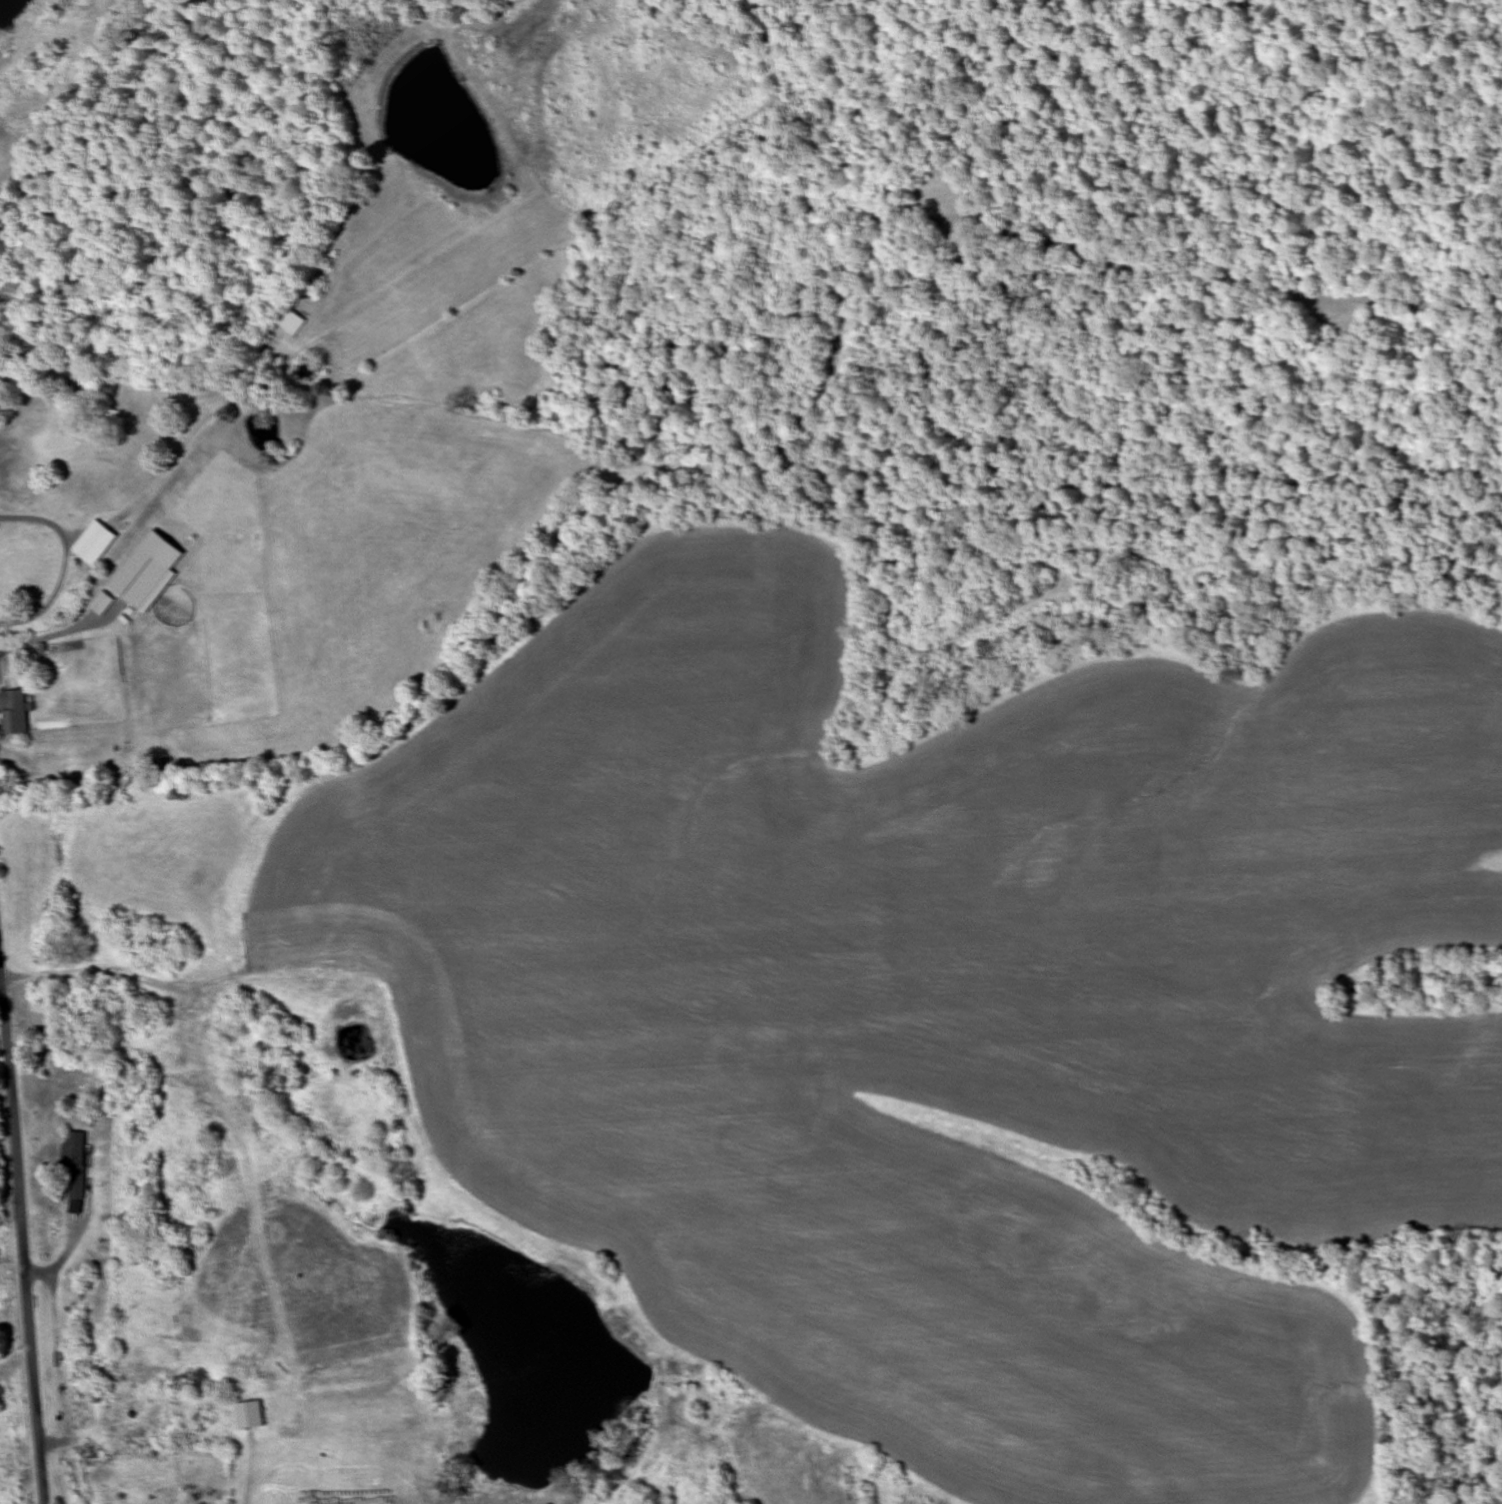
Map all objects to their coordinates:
building: (291, 324)
building: (143, 580)
building: (14, 712)
building: (75, 1167)
road: (21, 1253)
building: (128, 1421)

